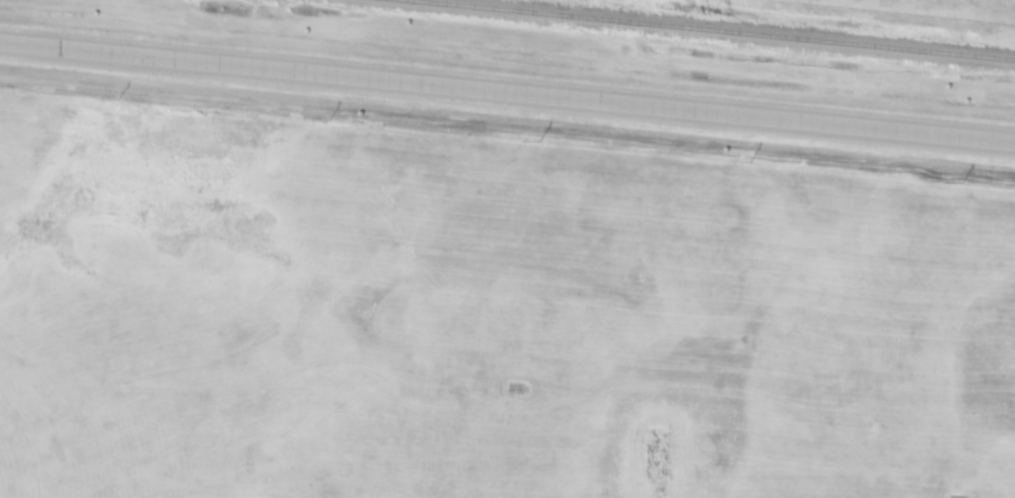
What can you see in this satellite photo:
railway: (707, 30)
road: (507, 88)

